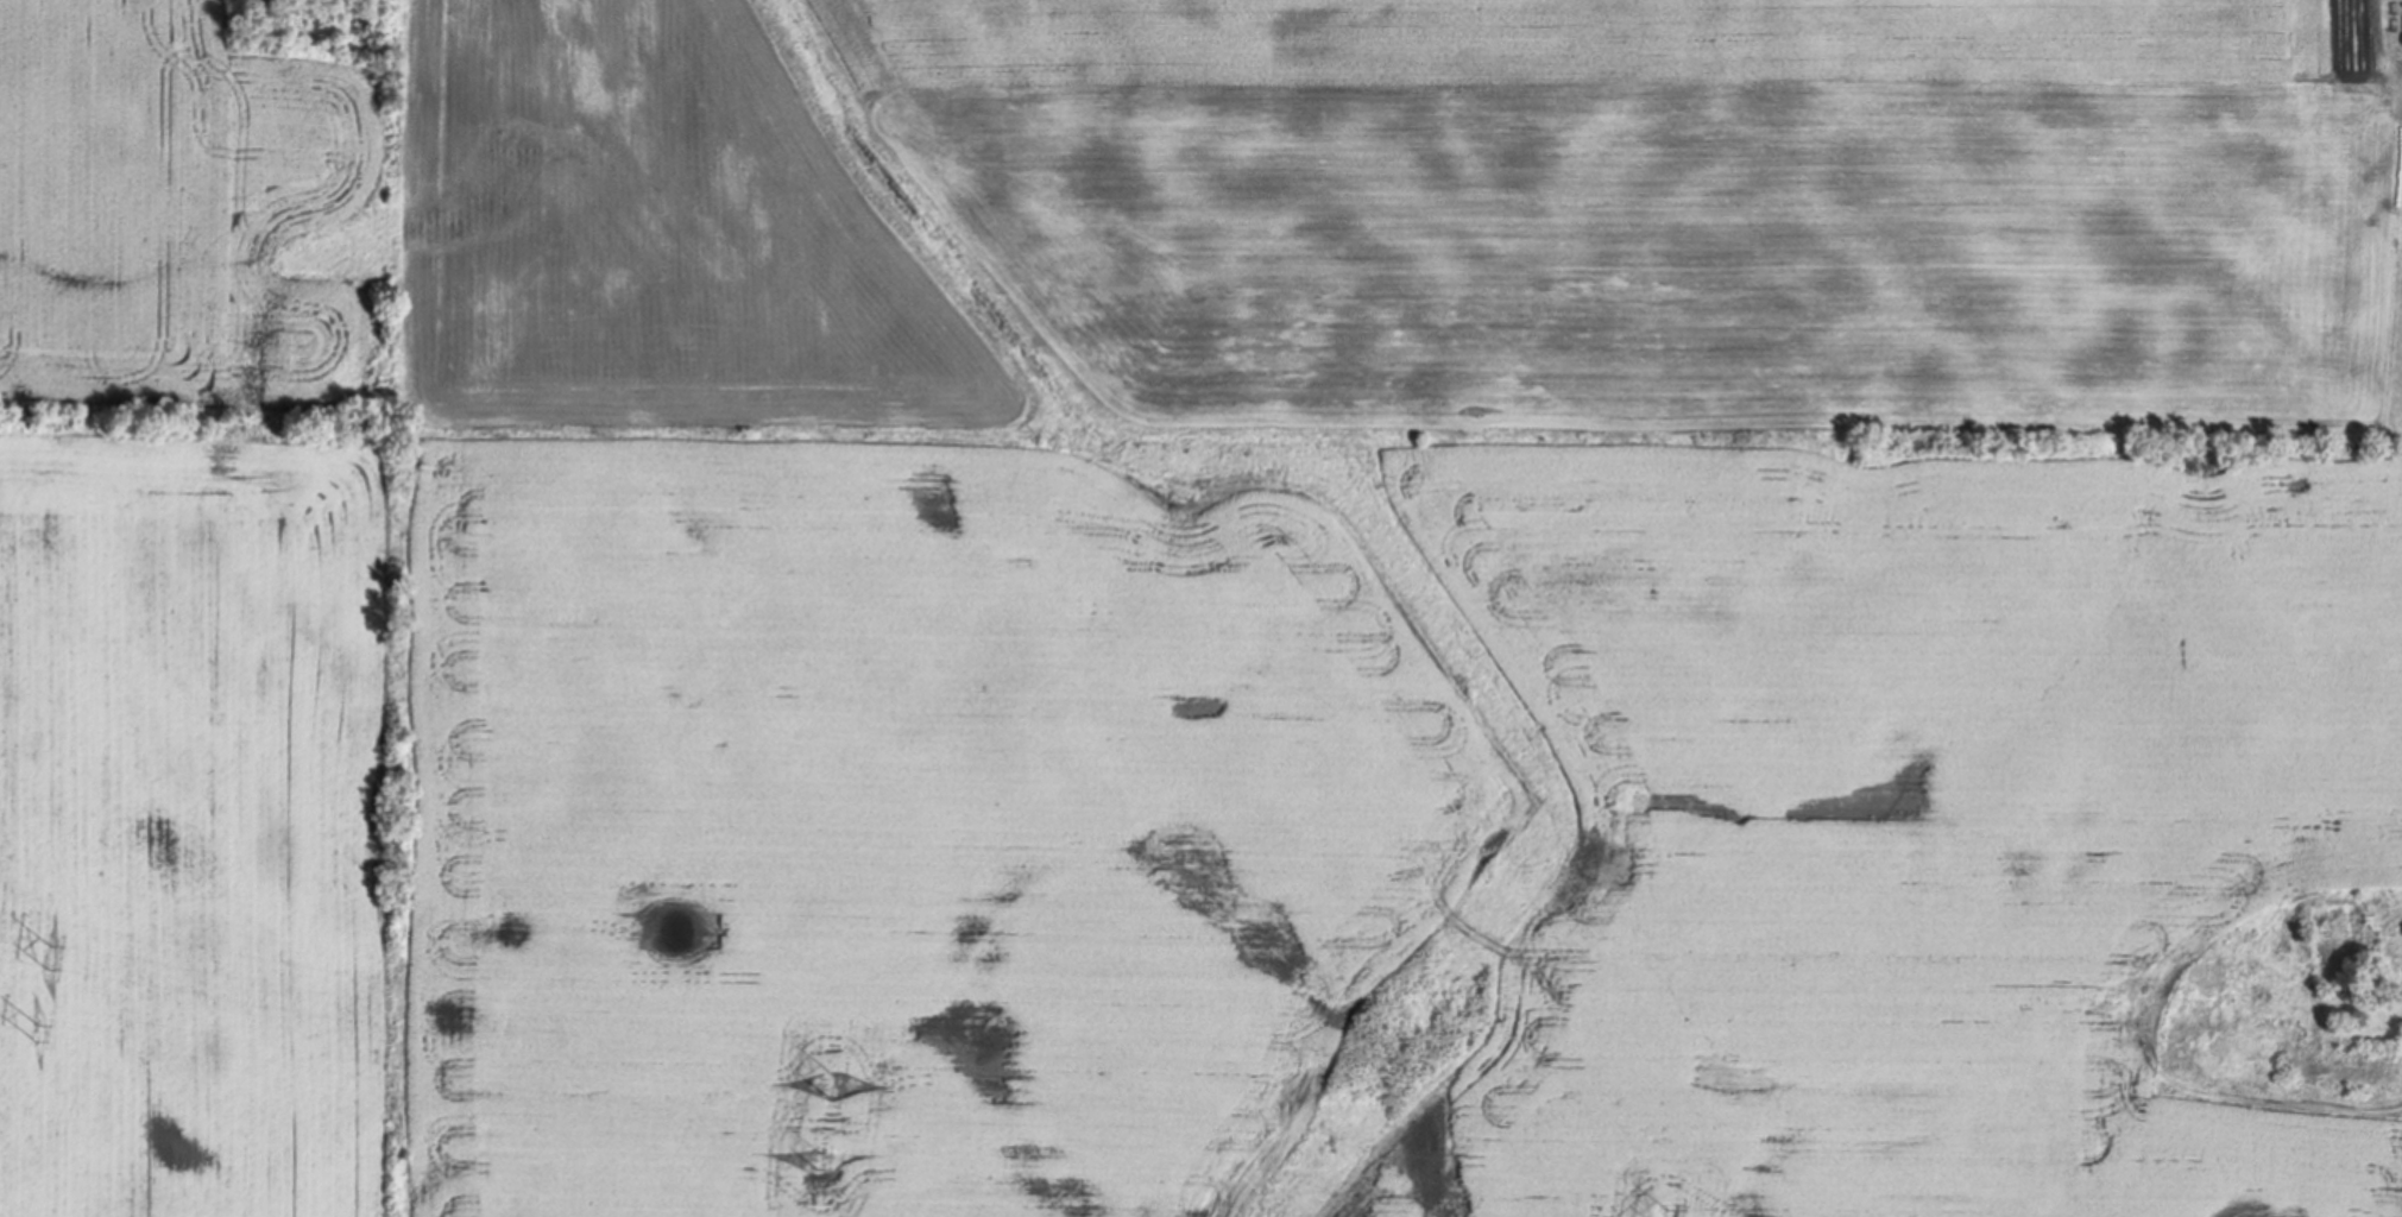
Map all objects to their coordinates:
power tower: (52, 951)
power tower: (34, 1029)
power tower: (831, 1083)
power tower: (814, 1160)

